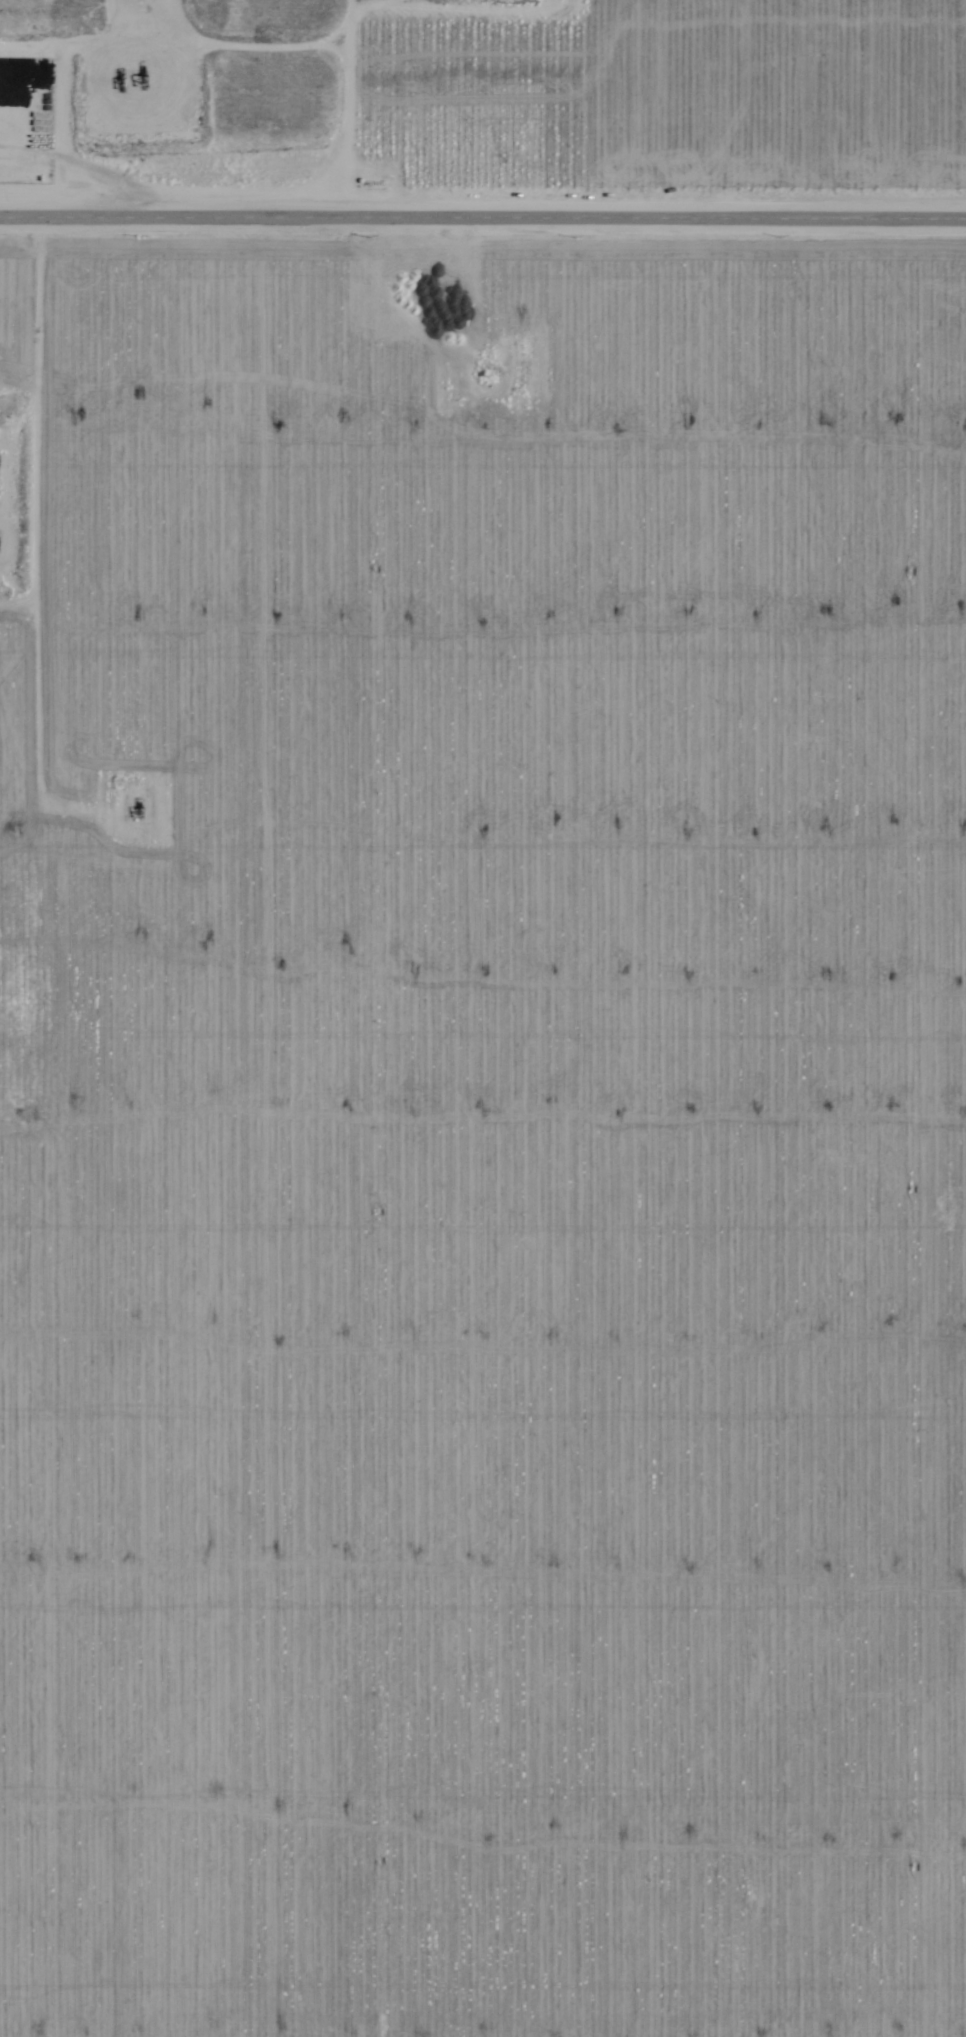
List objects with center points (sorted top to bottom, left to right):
road: (483, 219)
road: (9, 582)
crop: (494, 1050)

